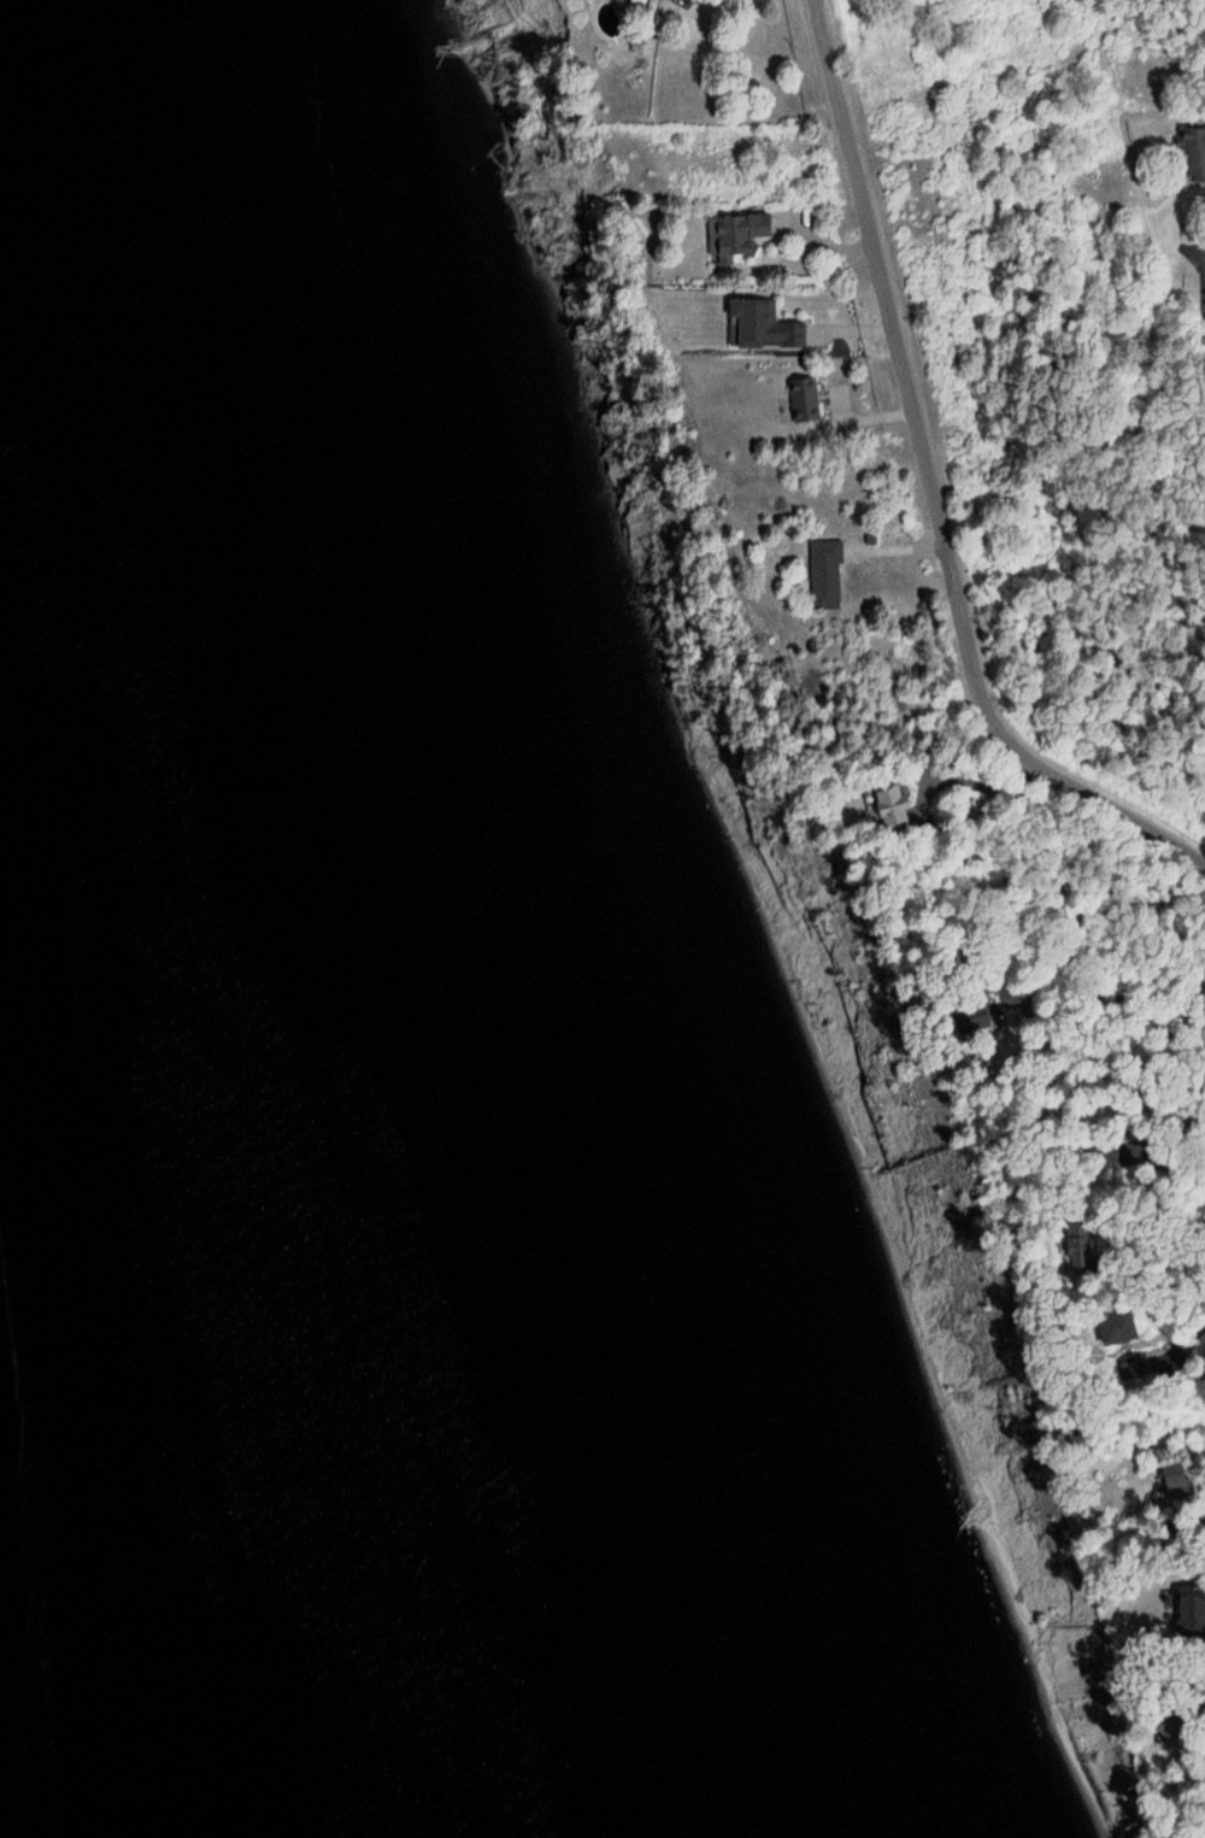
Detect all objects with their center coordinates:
building: (746, 236)
building: (777, 327)
building: (805, 404)
road: (933, 489)
building: (834, 576)
building: (907, 808)
road: (1129, 992)
building: (1123, 1328)
road: (1191, 1339)

